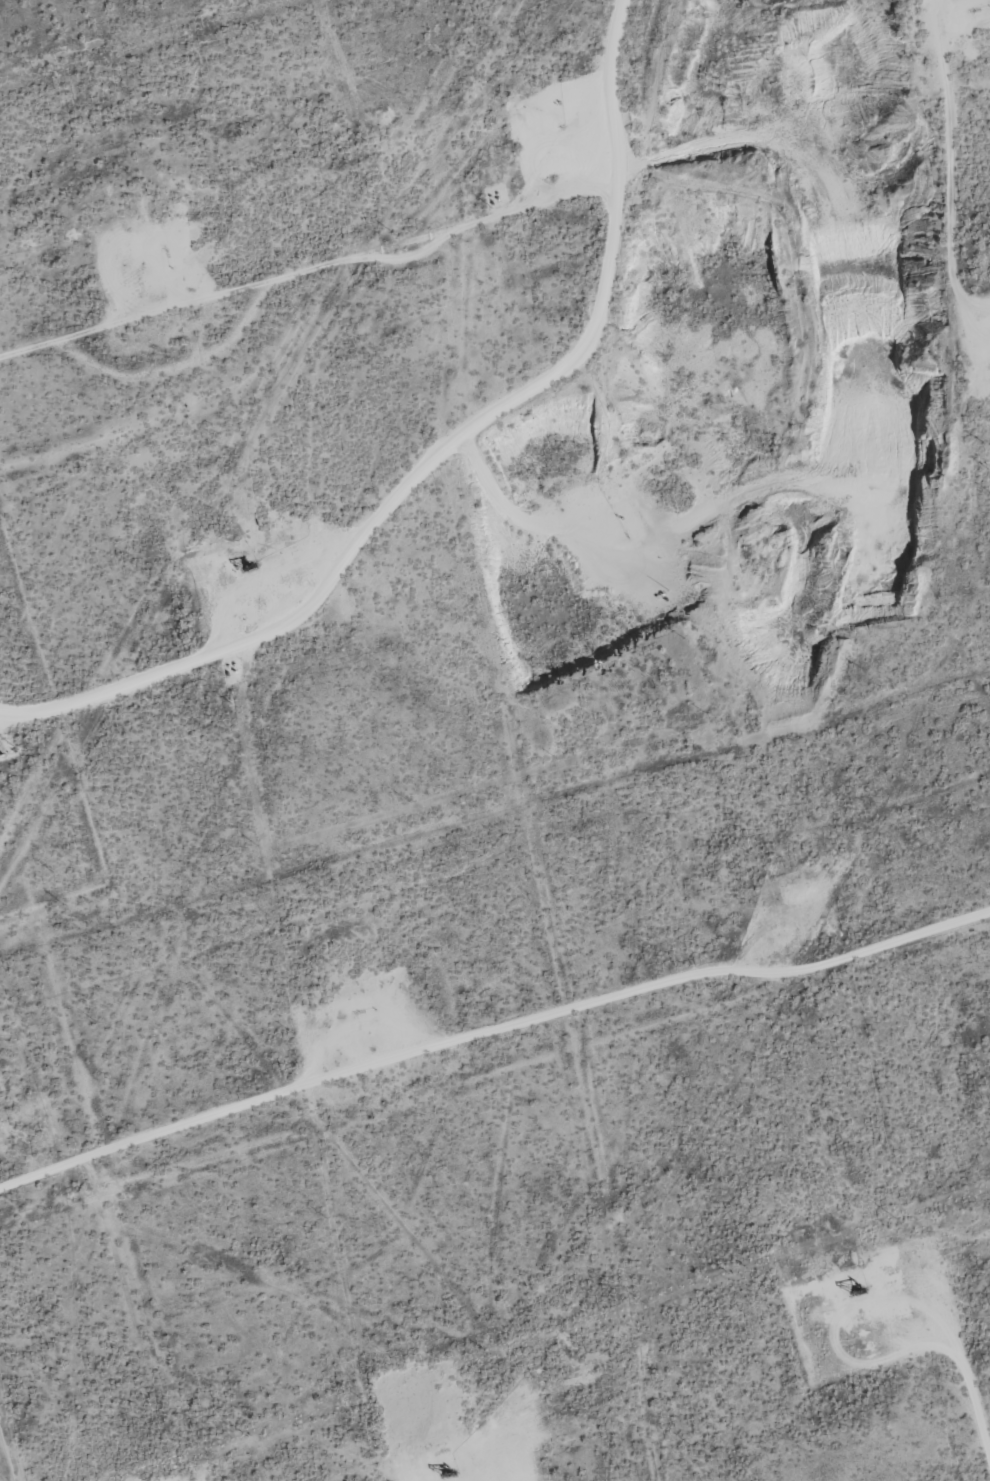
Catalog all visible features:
road: (388, 243)
road: (496, 1031)

